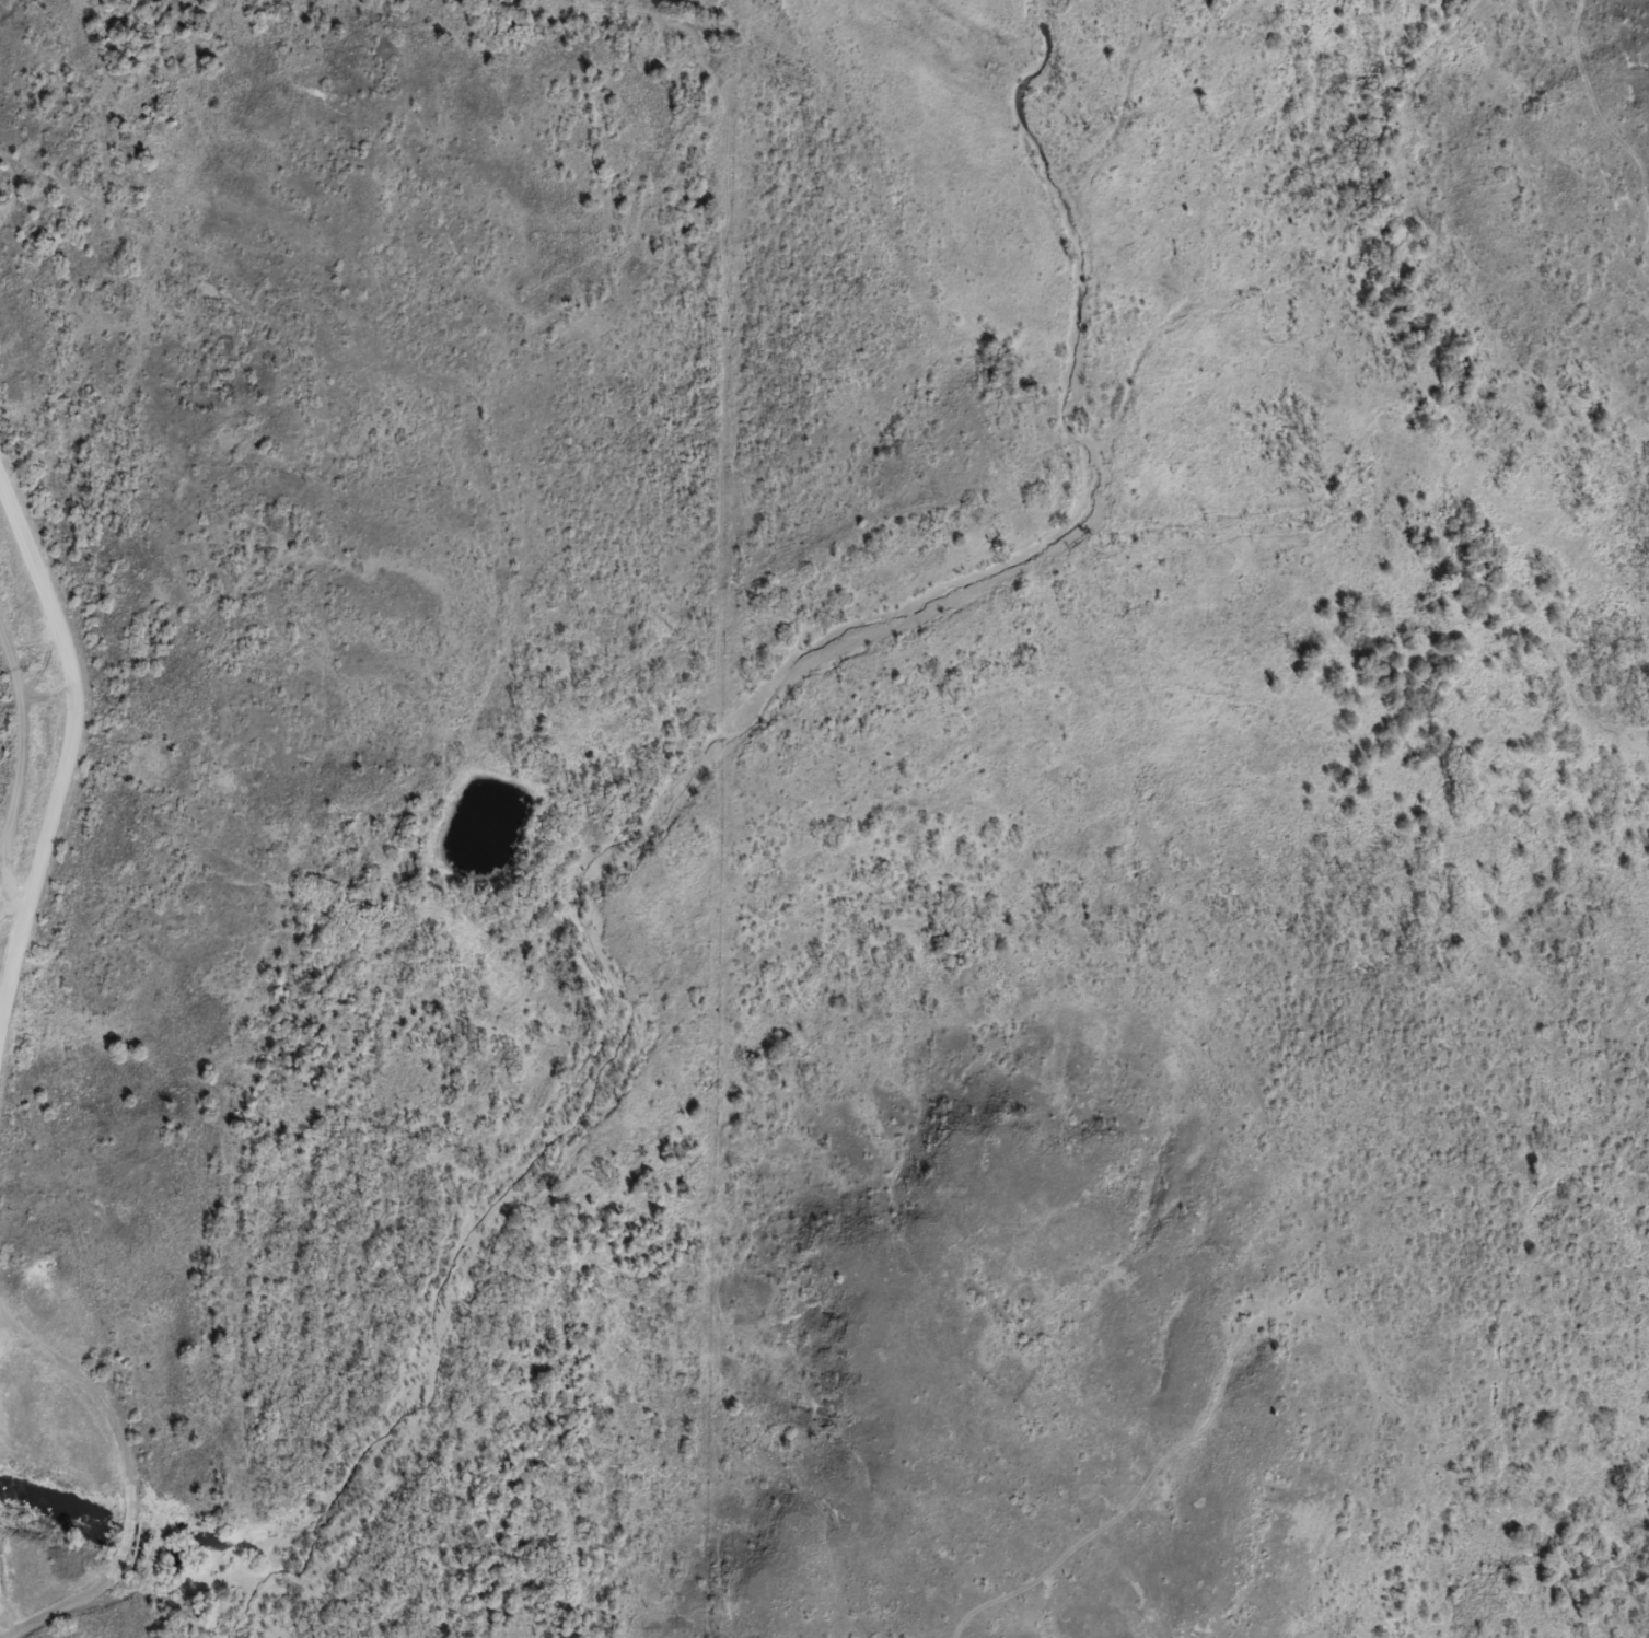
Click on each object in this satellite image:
road: (67, 755)

